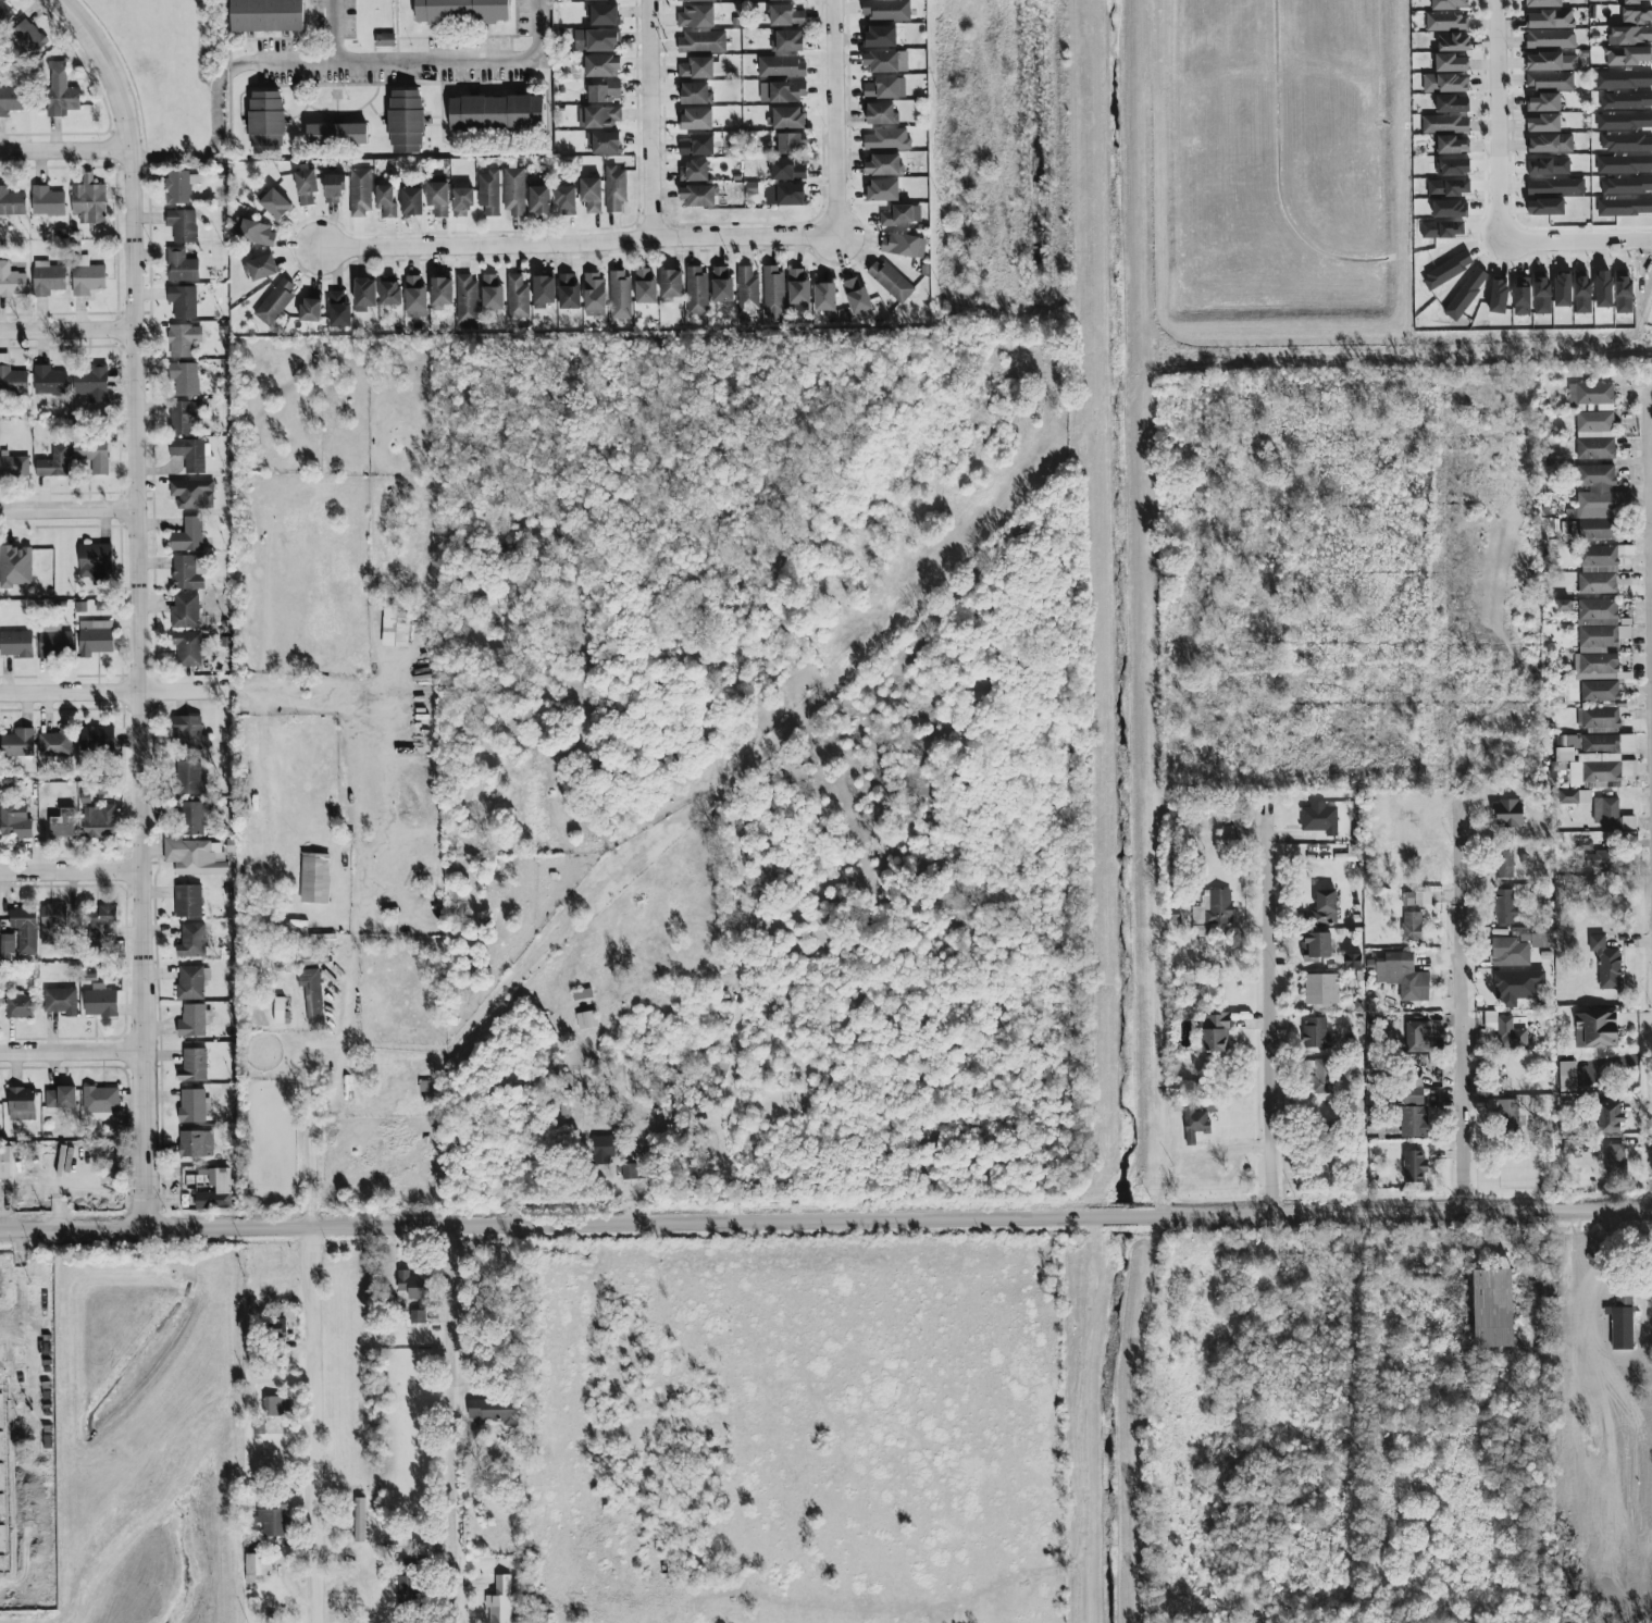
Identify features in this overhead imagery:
building: (595, 0)
building: (693, 0)
building: (783, 0)
building: (1637, 1)
building: (1542, 3)
building: (1449, 4)
building: (5, 11)
building: (885, 11)
building: (462, 12)
building: (266, 15)
building: (603, 15)
building: (785, 15)
building: (1637, 15)
building: (695, 17)
building: (1551, 20)
building: (1446, 22)
road: (333, 30)
building: (880, 36)
building: (1630, 36)
building: (26, 37)
building: (1551, 39)
building: (385, 40)
building: (595, 41)
building: (787, 41)
building: (703, 42)
building: (1453, 42)
building: (1628, 55)
road: (407, 61)
building: (884, 62)
building: (1550, 62)
building: (1451, 63)
building: (601, 66)
building: (781, 66)
building: (698, 69)
road: (1494, 74)
building: (1550, 82)
building: (1444, 84)
building: (884, 88)
building: (603, 91)
building: (782, 91)
building: (60, 92)
building: (696, 94)
building: (10, 100)
building: (1543, 103)
building: (1451, 104)
building: (496, 113)
building: (880, 113)
building: (599, 116)
building: (786, 117)
road: (834, 117)
road: (647, 119)
building: (695, 119)
building: (265, 122)
building: (406, 122)
building: (1544, 124)
building: (1445, 125)
building: (336, 135)
building: (887, 139)
building: (604, 143)
building: (1550, 144)
building: (697, 146)
building: (1453, 146)
road: (66, 150)
building: (883, 165)
building: (786, 170)
building: (693, 171)
building: (178, 186)
building: (306, 186)
building: (333, 188)
building: (614, 188)
building: (882, 190)
building: (360, 191)
building: (513, 191)
building: (487, 193)
building: (591, 195)
building: (784, 195)
building: (696, 196)
building: (437, 198)
building: (385, 200)
building: (461, 200)
building: (538, 200)
building: (47, 201)
building: (88, 201)
building: (411, 201)
building: (566, 201)
building: (11, 202)
building: (273, 203)
building: (900, 214)
building: (182, 225)
building: (252, 232)
road: (575, 243)
road: (1530, 244)
building: (903, 246)
building: (181, 265)
building: (260, 268)
building: (86, 276)
building: (47, 278)
building: (11, 281)
building: (890, 282)
building: (670, 285)
building: (721, 285)
building: (645, 286)
building: (797, 287)
building: (389, 290)
building: (696, 290)
building: (747, 290)
building: (543, 292)
building: (440, 293)
building: (492, 293)
building: (568, 293)
building: (772, 293)
building: (364, 295)
building: (414, 295)
building: (594, 295)
building: (619, 295)
building: (824, 296)
building: (856, 296)
building: (465, 299)
building: (517, 299)
building: (183, 301)
building: (275, 302)
building: (310, 308)
building: (338, 310)
road: (69, 331)
building: (183, 340)
building: (12, 379)
building: (184, 379)
building: (49, 381)
building: (91, 384)
building: (185, 417)
building: (1593, 420)
building: (188, 454)
building: (92, 456)
building: (53, 463)
building: (14, 466)
building: (1597, 493)
building: (191, 494)
road: (1650, 500)
road: (70, 508)
building: (1599, 530)
building: (187, 535)
building: (1599, 557)
building: (95, 562)
building: (15, 566)
building: (188, 572)
building: (1597, 584)
road: (141, 605)
building: (185, 610)
building: (394, 627)
building: (95, 637)
building: (1597, 641)
building: (54, 643)
building: (15, 644)
building: (188, 648)
road: (117, 691)
building: (1600, 691)
building: (1600, 718)
building: (188, 732)
building: (96, 739)
building: (17, 743)
building: (55, 743)
building: (1607, 743)
building: (1566, 747)
building: (1600, 771)
building: (187, 777)
building: (1605, 813)
building: (1510, 814)
building: (194, 818)
building: (1318, 819)
building: (14, 821)
building: (99, 821)
building: (62, 823)
building: (1582, 845)
building: (196, 856)
building: (1603, 862)
building: (1504, 865)
road: (73, 871)
building: (314, 878)
building: (1416, 899)
building: (187, 901)
building: (1325, 907)
building: (1505, 907)
building: (1213, 908)
building: (51, 922)
building: (100, 924)
building: (1412, 927)
building: (24, 929)
building: (191, 941)
building: (7, 944)
building: (1317, 946)
building: (1520, 946)
building: (312, 955)
building: (1353, 962)
building: (1606, 963)
building: (1401, 976)
building: (191, 982)
building: (1517, 987)
building: (1321, 991)
building: (311, 994)
building: (61, 1001)
building: (100, 1001)
building: (20, 1006)
road: (1460, 1008)
building: (280, 1012)
road: (1271, 1013)
building: (586, 1020)
building: (192, 1021)
building: (1595, 1029)
building: (1506, 1031)
building: (1215, 1033)
building: (1316, 1033)
building: (1417, 1037)
road: (73, 1051)
building: (192, 1066)
building: (1567, 1076)
building: (1414, 1097)
building: (60, 1098)
building: (100, 1099)
building: (21, 1103)
road: (718, 1104)
building: (195, 1105)
building: (1506, 1114)
building: (100, 1115)
building: (1610, 1116)
building: (1415, 1122)
building: (1194, 1124)
building: (1372, 1125)
building: (196, 1144)
building: (1570, 1147)
building: (604, 1149)
building: (4, 1163)
building: (1616, 1165)
building: (1414, 1167)
building: (629, 1172)
building: (213, 1189)
road: (825, 1221)
road: (25, 1281)
building: (414, 1287)
building: (1493, 1309)
road: (321, 1311)
building: (417, 1315)
building: (1622, 1324)
road: (38, 1364)
building: (275, 1405)
building: (493, 1411)
road: (455, 1425)
building: (359, 1520)
building: (274, 1521)
building: (423, 1546)
building: (407, 1593)
building: (500, 1601)

